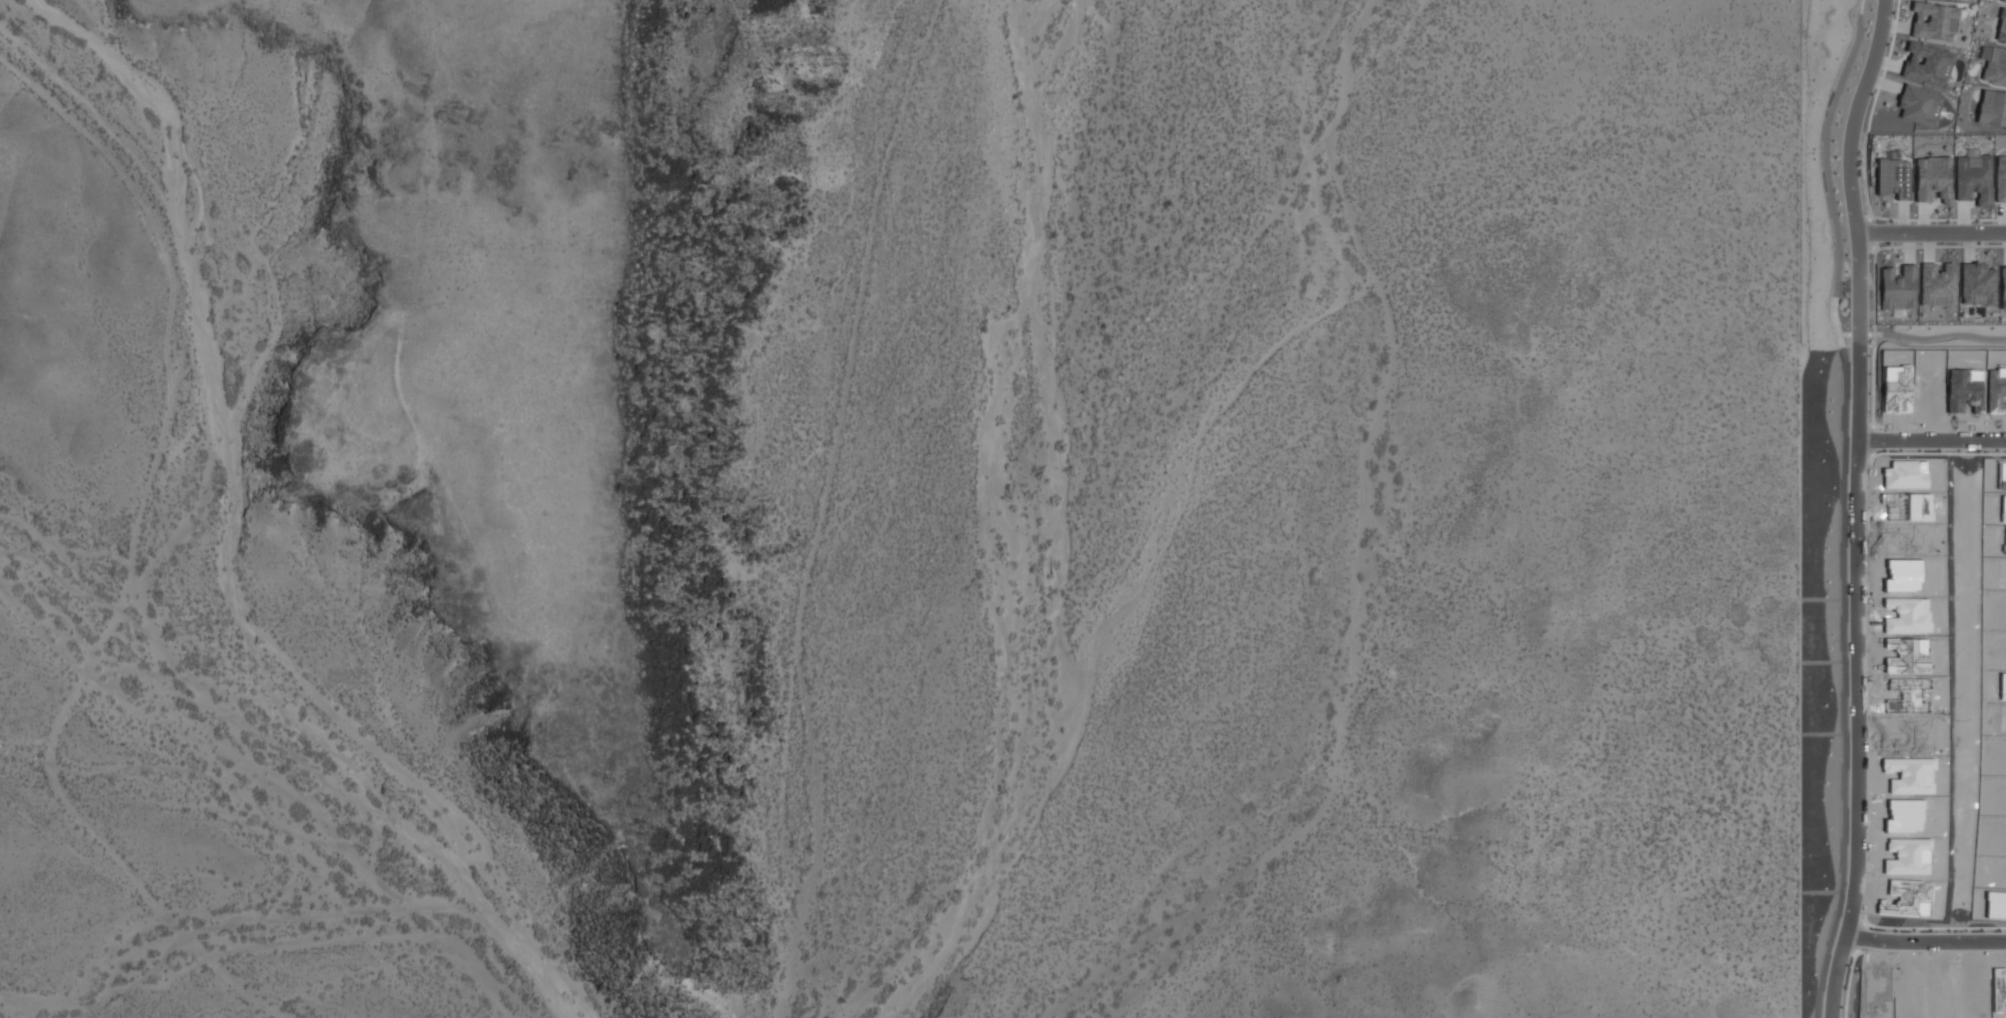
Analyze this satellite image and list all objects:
building: (2004, 1)
building: (1995, 57)
building: (1928, 62)
building: (1920, 105)
building: (1992, 108)
building: (1893, 176)
building: (1933, 179)
building: (2000, 179)
road: (1932, 234)
building: (1978, 284)
building: (1938, 285)
building: (2003, 287)
building: (1899, 288)
road: (1939, 441)
road: (1873, 507)
road: (1933, 937)

